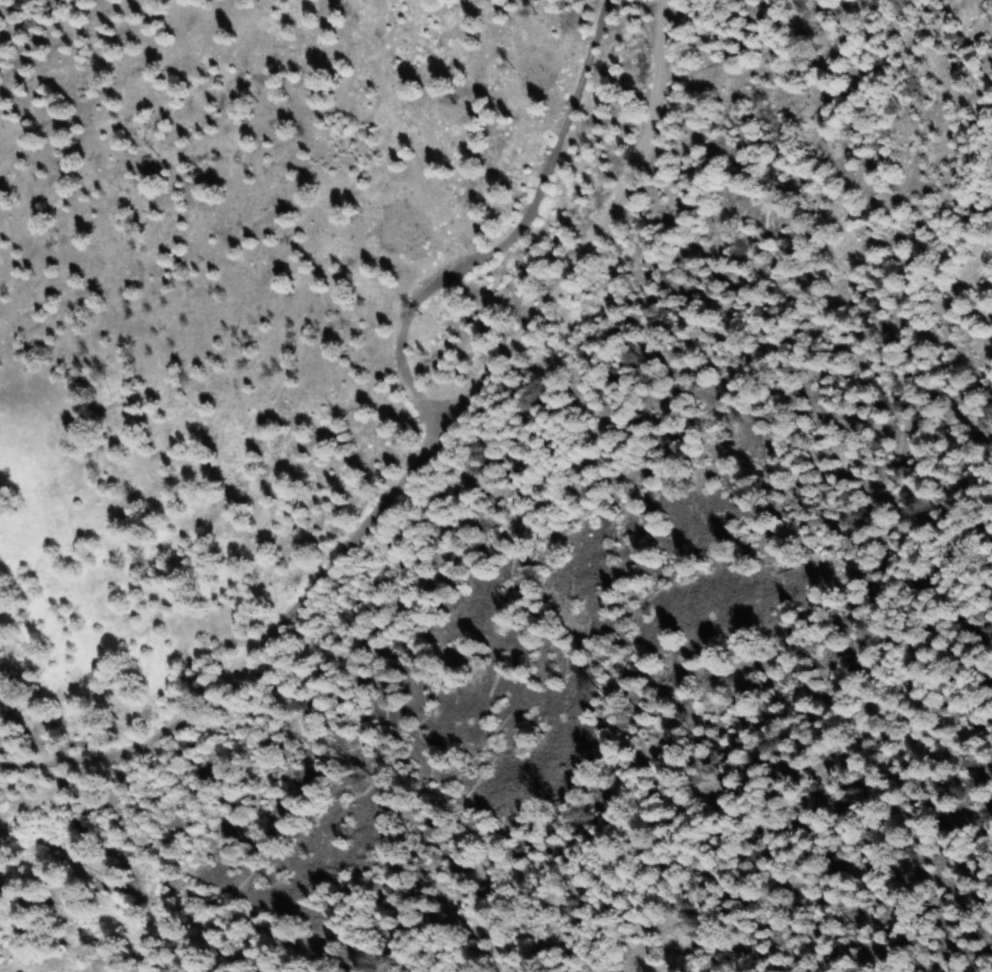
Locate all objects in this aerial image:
road: (509, 235)
road: (412, 459)

